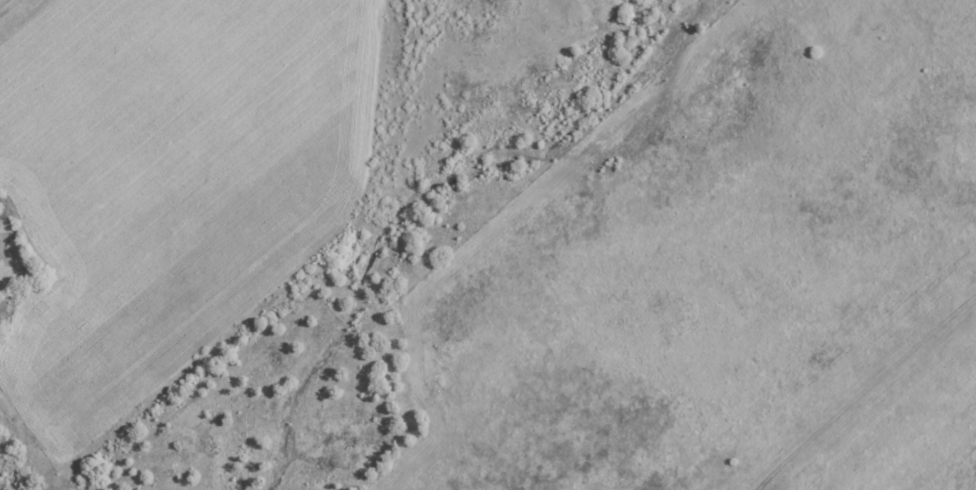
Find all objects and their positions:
road: (6, 5)
road: (947, 462)

